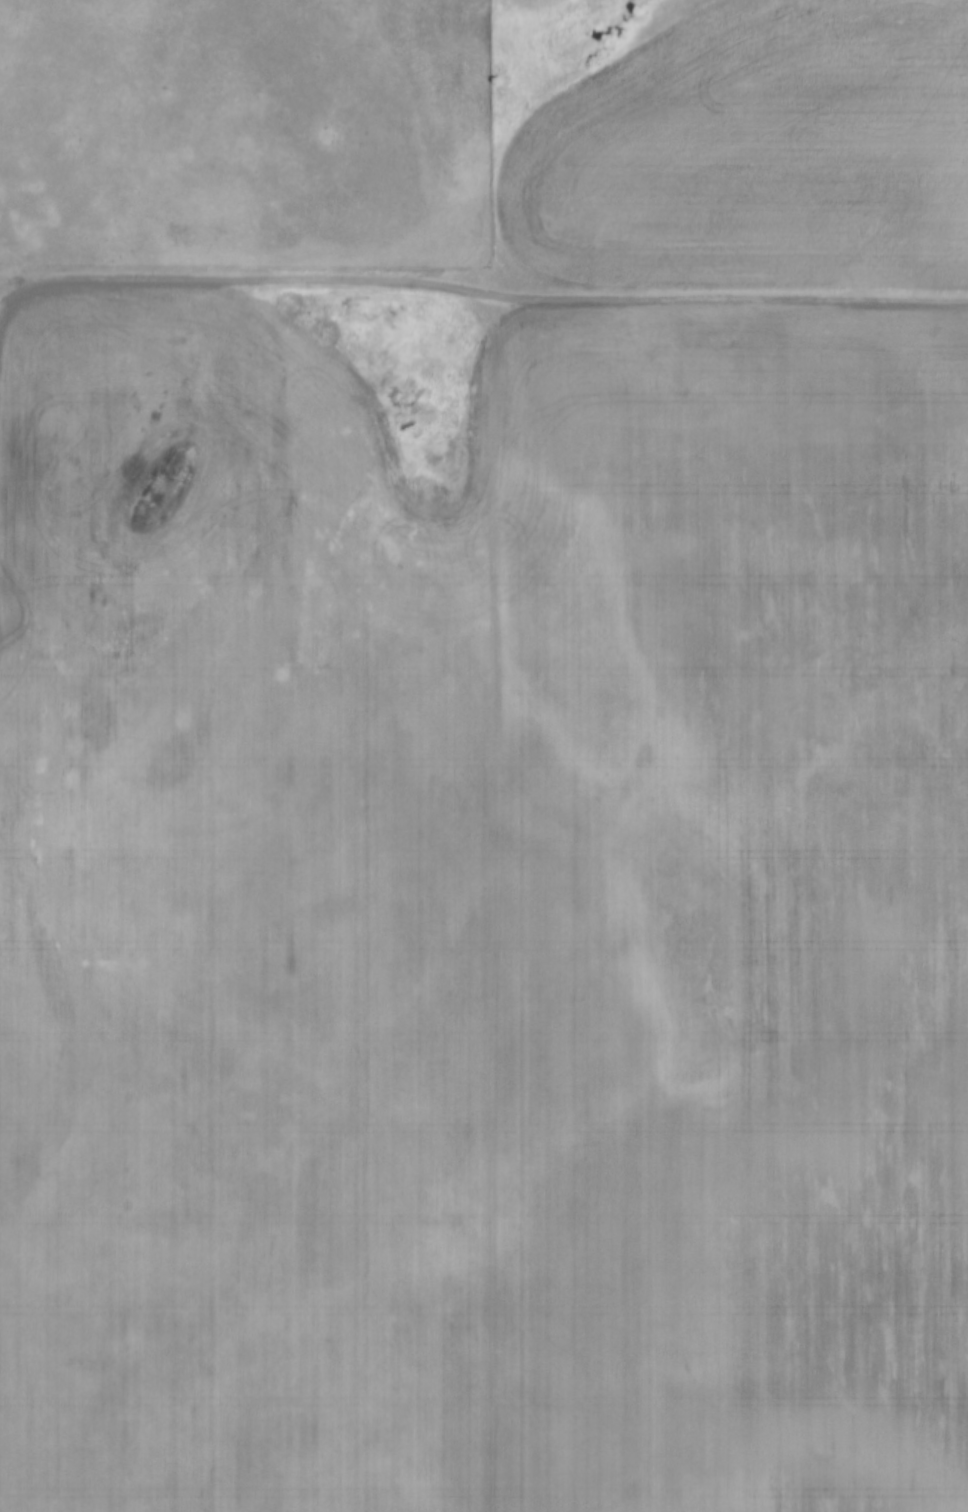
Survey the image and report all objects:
road: (483, 293)
road: (494, 376)

